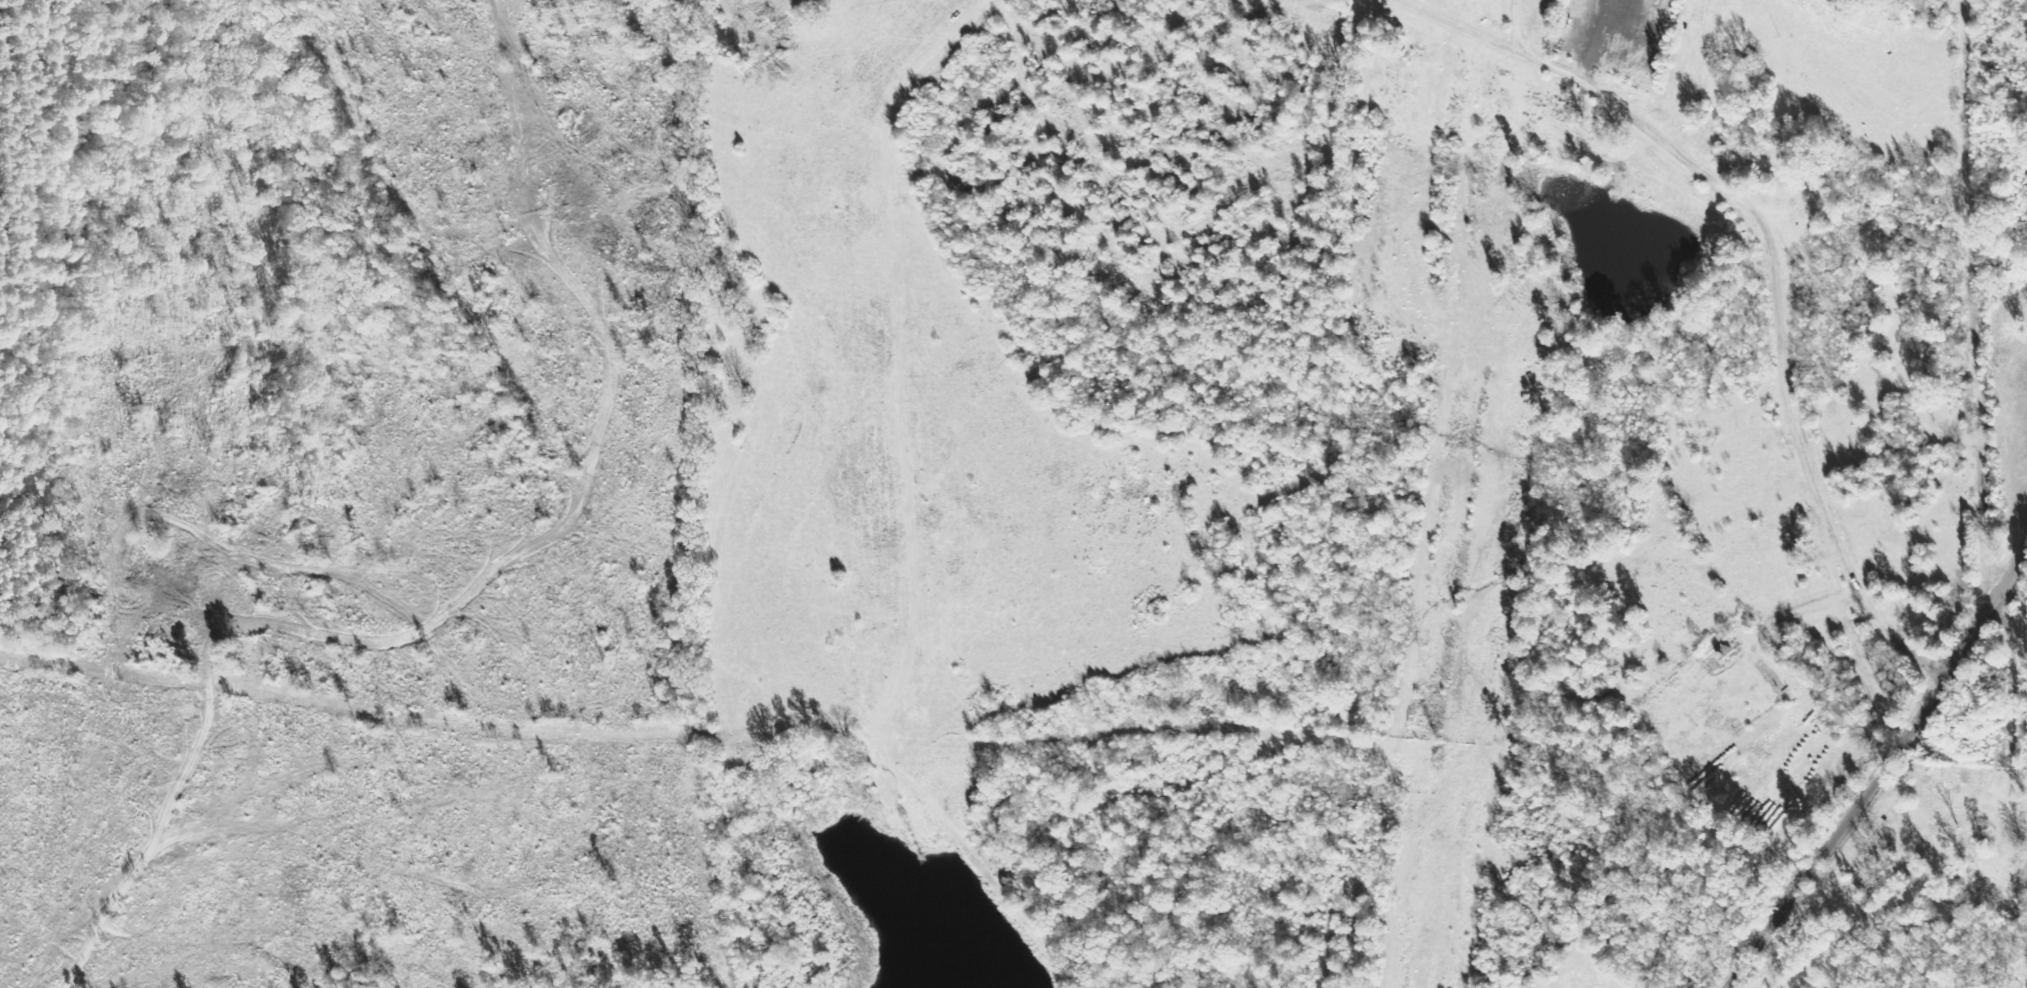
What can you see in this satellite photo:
road: (1720, 453)
building: (1839, 713)
road: (1881, 776)

